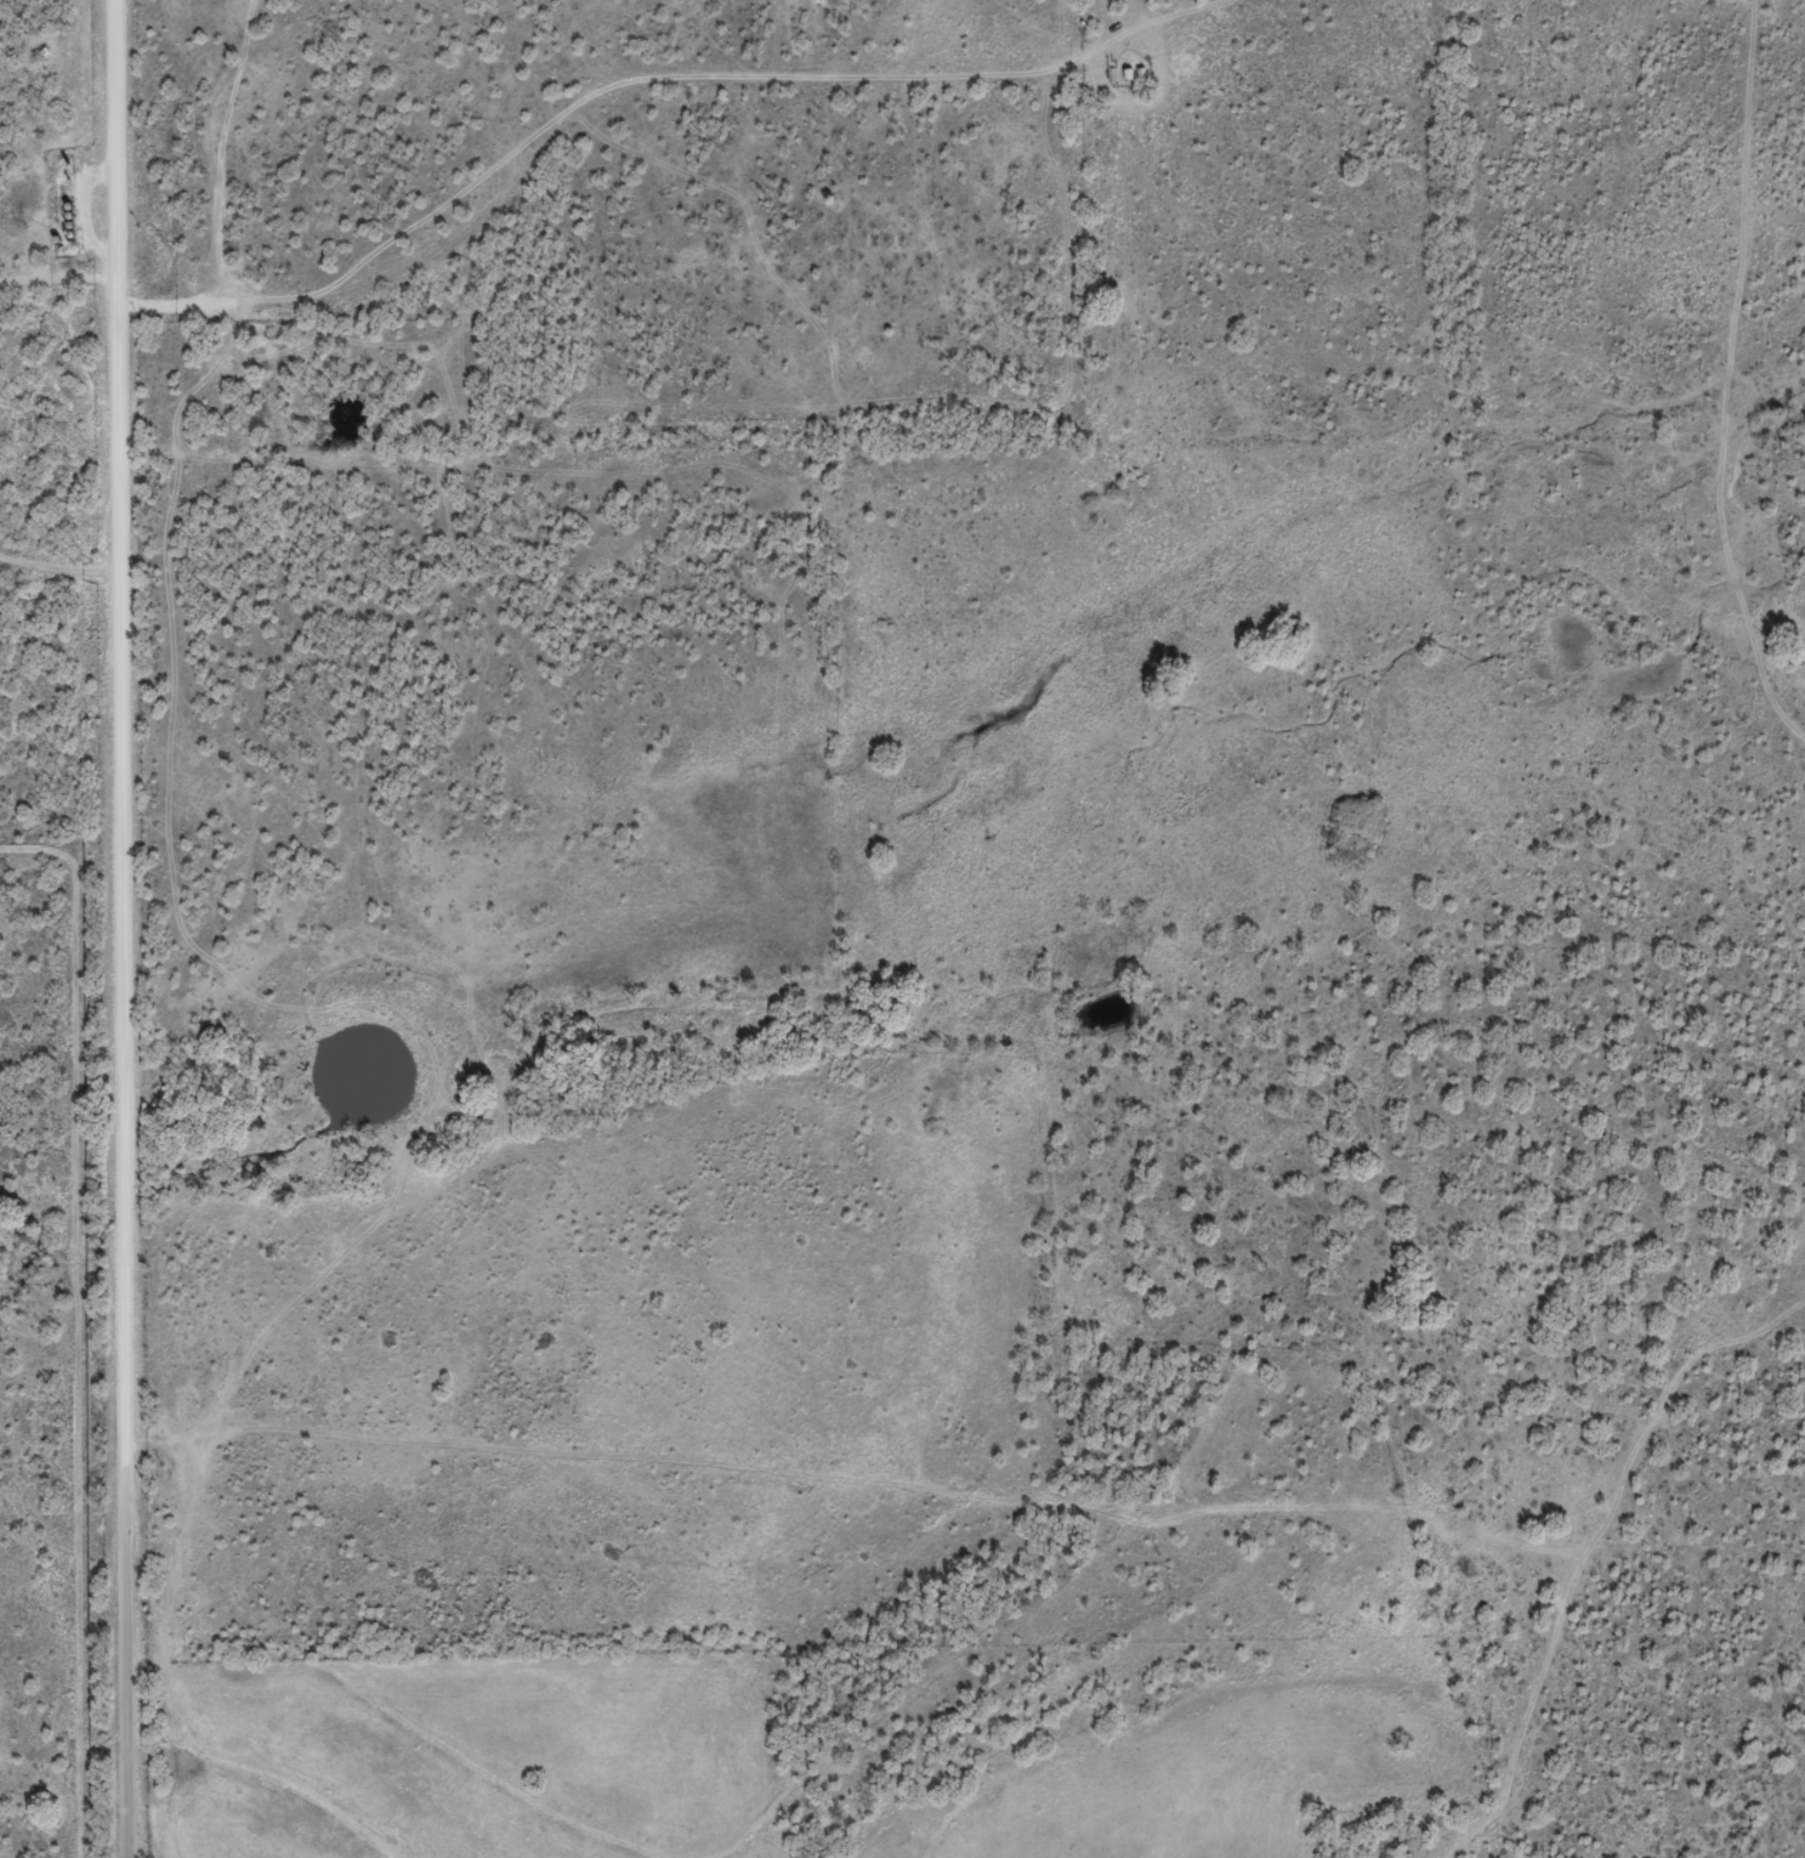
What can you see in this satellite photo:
road: (607, 87)
road: (57, 288)
road: (120, 736)
road: (129, 1665)

